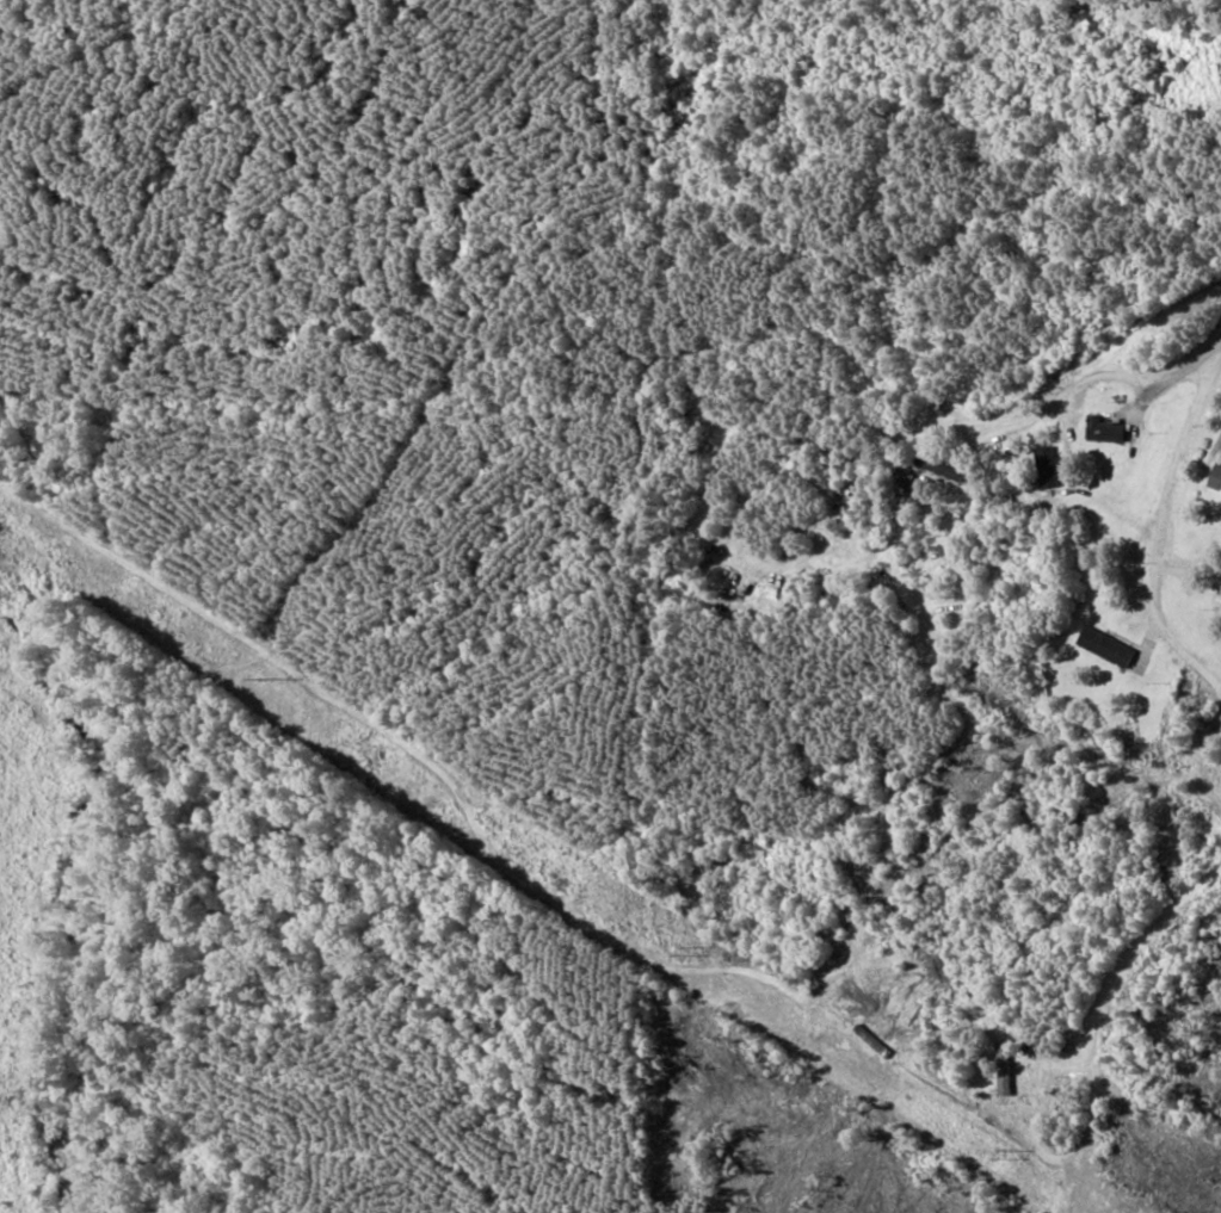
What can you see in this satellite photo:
road: (1186, 419)
building: (1102, 429)
building: (1046, 466)
building: (1215, 479)
building: (1103, 646)

